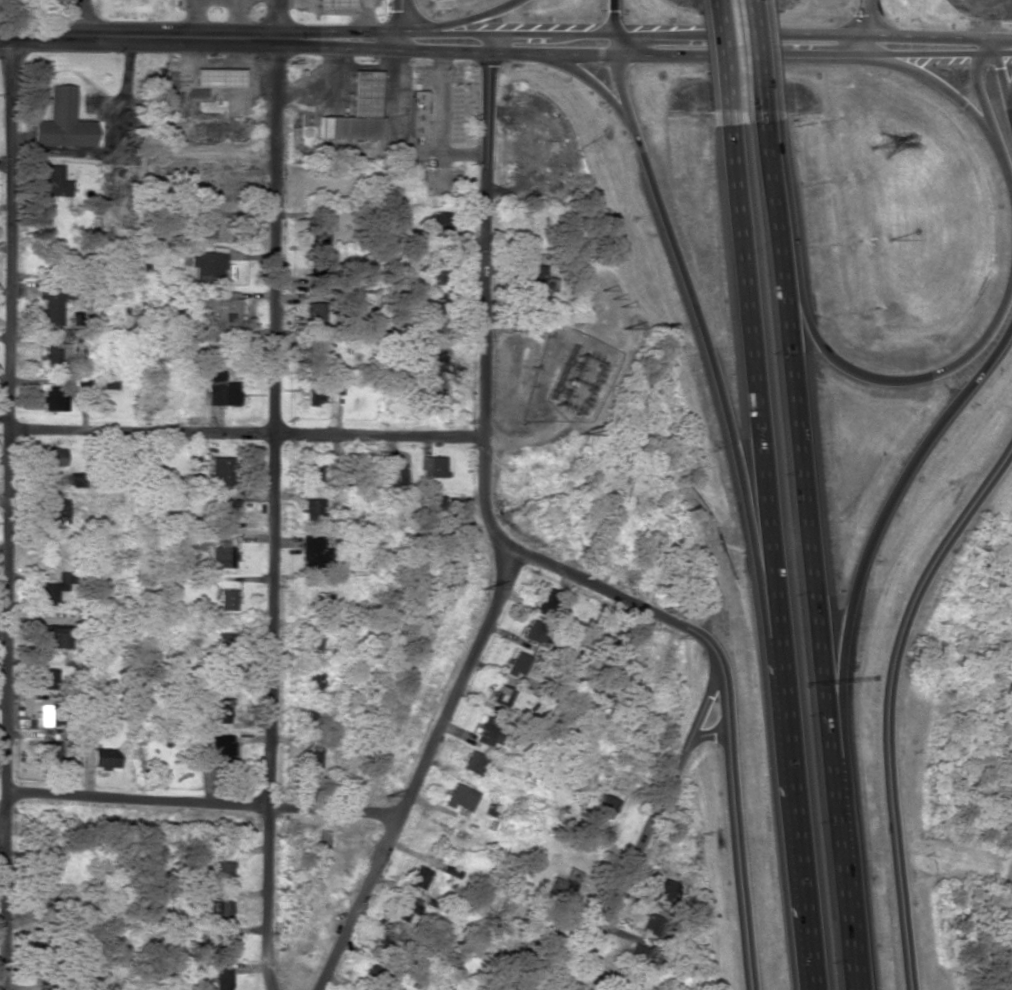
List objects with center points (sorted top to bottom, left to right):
building: (333, 4)
road: (82, 18)
road: (465, 19)
road: (398, 20)
road: (866, 28)
road: (455, 34)
road: (666, 34)
road: (199, 37)
road: (406, 37)
road: (924, 37)
road: (703, 56)
building: (218, 78)
road: (587, 79)
road: (1001, 80)
road: (759, 82)
road: (729, 85)
road: (977, 86)
road: (971, 109)
building: (357, 111)
building: (417, 114)
building: (61, 122)
power tower: (886, 143)
building: (54, 182)
building: (321, 207)
building: (440, 221)
building: (318, 264)
building: (208, 265)
building: (538, 283)
building: (429, 305)
building: (219, 308)
building: (315, 315)
building: (55, 356)
building: (316, 361)
road: (718, 362)
power substation: (568, 376)
road: (888, 378)
building: (108, 381)
building: (82, 384)
building: (221, 386)
building: (337, 387)
building: (314, 392)
building: (53, 399)
road: (483, 420)
road: (245, 432)
building: (55, 456)
building: (432, 466)
building: (222, 470)
building: (312, 470)
building: (392, 474)
building: (76, 482)
road: (273, 495)
building: (226, 509)
building: (54, 510)
building: (311, 510)
road: (7, 512)
building: (433, 512)
road: (870, 538)
building: (313, 553)
building: (222, 556)
road: (810, 577)
road: (781, 579)
building: (56, 587)
building: (226, 600)
building: (545, 603)
building: (318, 604)
building: (533, 632)
building: (54, 637)
building: (225, 640)
building: (312, 640)
building: (517, 664)
building: (48, 679)
building: (314, 682)
road: (885, 698)
building: (218, 712)
building: (52, 715)
building: (312, 717)
building: (493, 717)
road: (707, 735)
building: (219, 749)
building: (50, 751)
building: (312, 757)
building: (100, 758)
building: (473, 763)
road: (418, 773)
building: (459, 798)
road: (201, 804)
building: (604, 806)
road: (645, 829)
road: (735, 829)
road: (2, 837)
building: (48, 862)
building: (223, 871)
building: (417, 877)
building: (562, 886)
building: (680, 890)
building: (49, 899)
building: (404, 907)
building: (656, 907)
building: (219, 910)
building: (387, 941)
building: (222, 945)
building: (635, 956)
building: (223, 978)
building: (376, 979)

